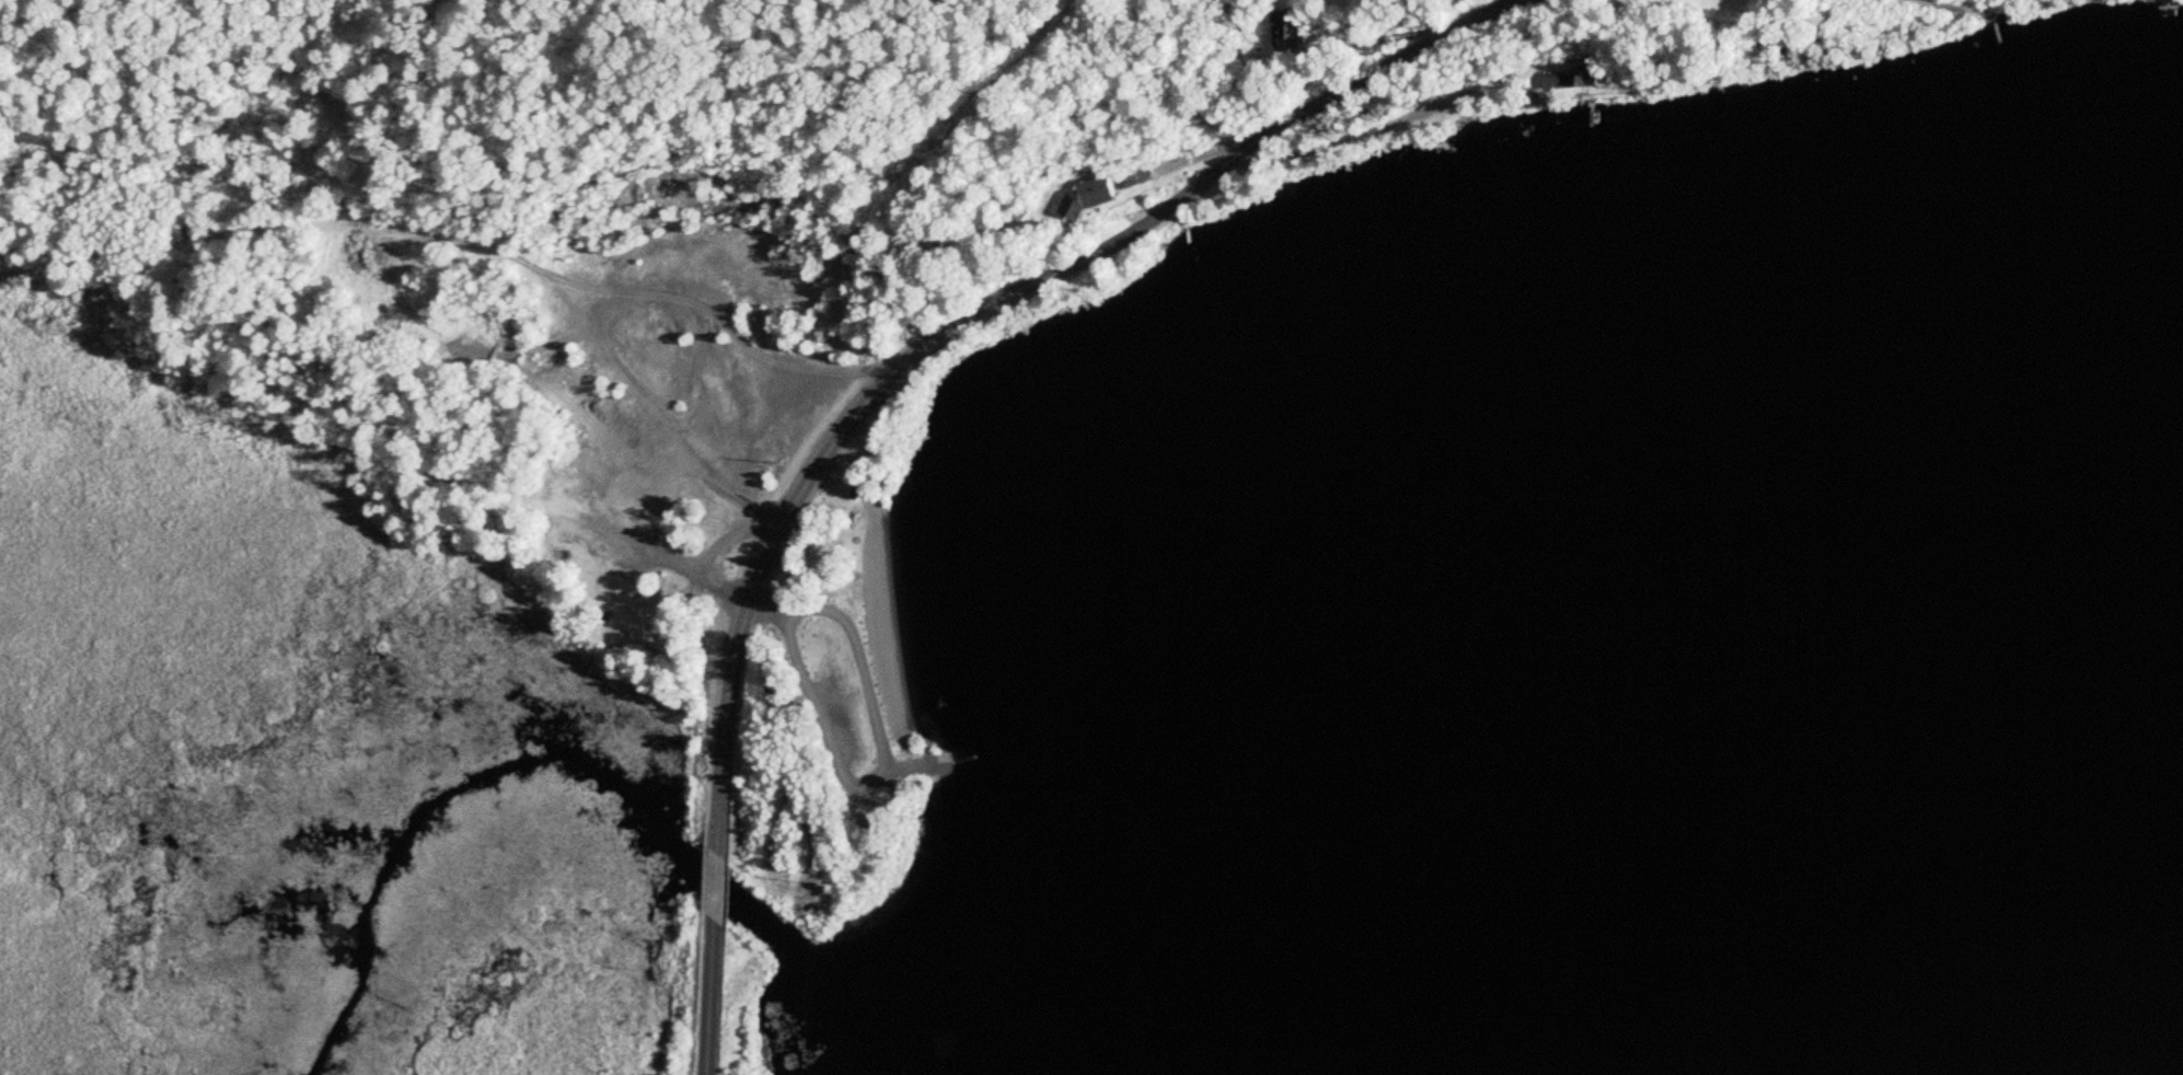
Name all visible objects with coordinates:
building: (1280, 27)
building: (1546, 82)
road: (1342, 138)
building: (1089, 193)
road: (979, 313)
road: (464, 478)
road: (765, 611)
parking lot: (835, 719)
road: (923, 764)
road: (885, 775)
road: (715, 888)
road: (708, 998)

